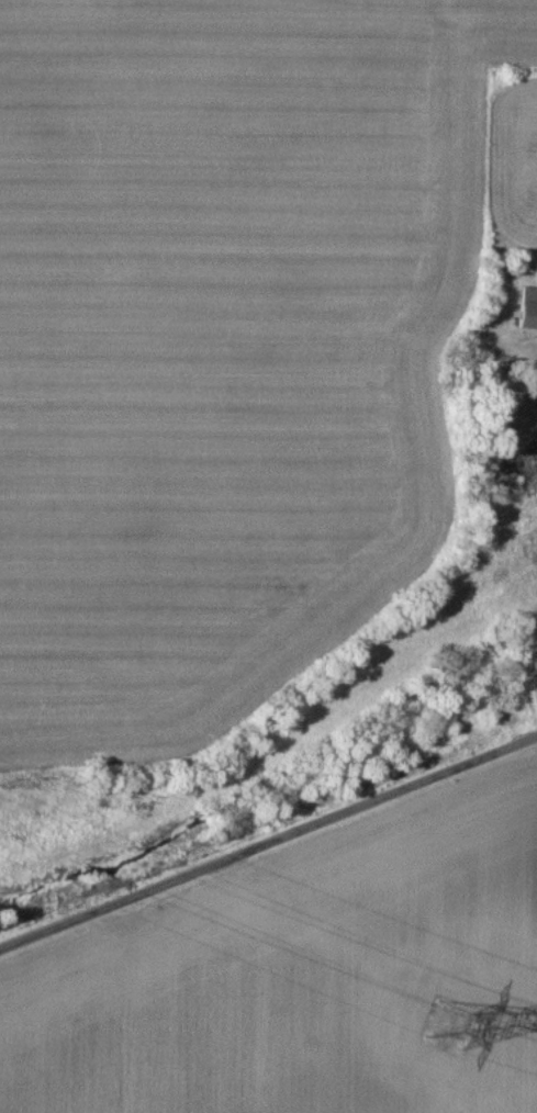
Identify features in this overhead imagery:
building: (529, 306)
road: (268, 835)
power tower: (450, 1030)

